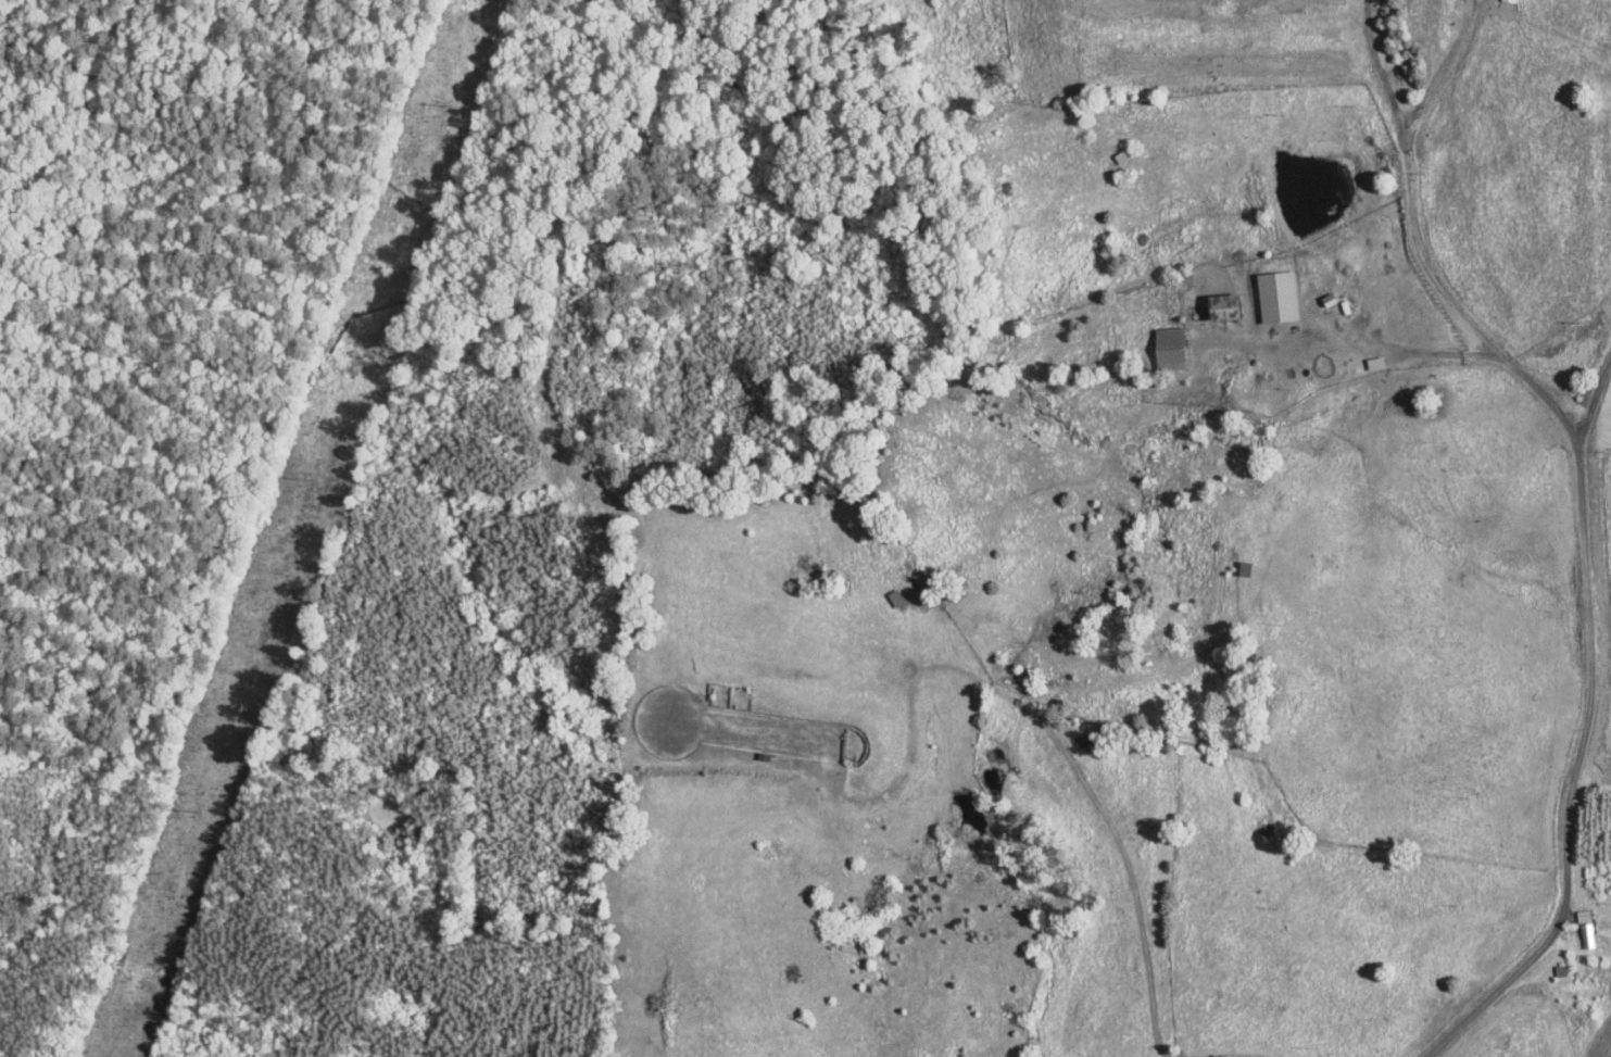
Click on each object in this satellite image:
power tower: (446, 101)
road: (1406, 189)
building: (1274, 295)
building: (1219, 305)
building: (1166, 347)
road: (1426, 351)
road: (1538, 395)
road: (1597, 400)
power tower: (315, 476)
road: (1575, 776)
power tower: (200, 806)
building: (1585, 928)

